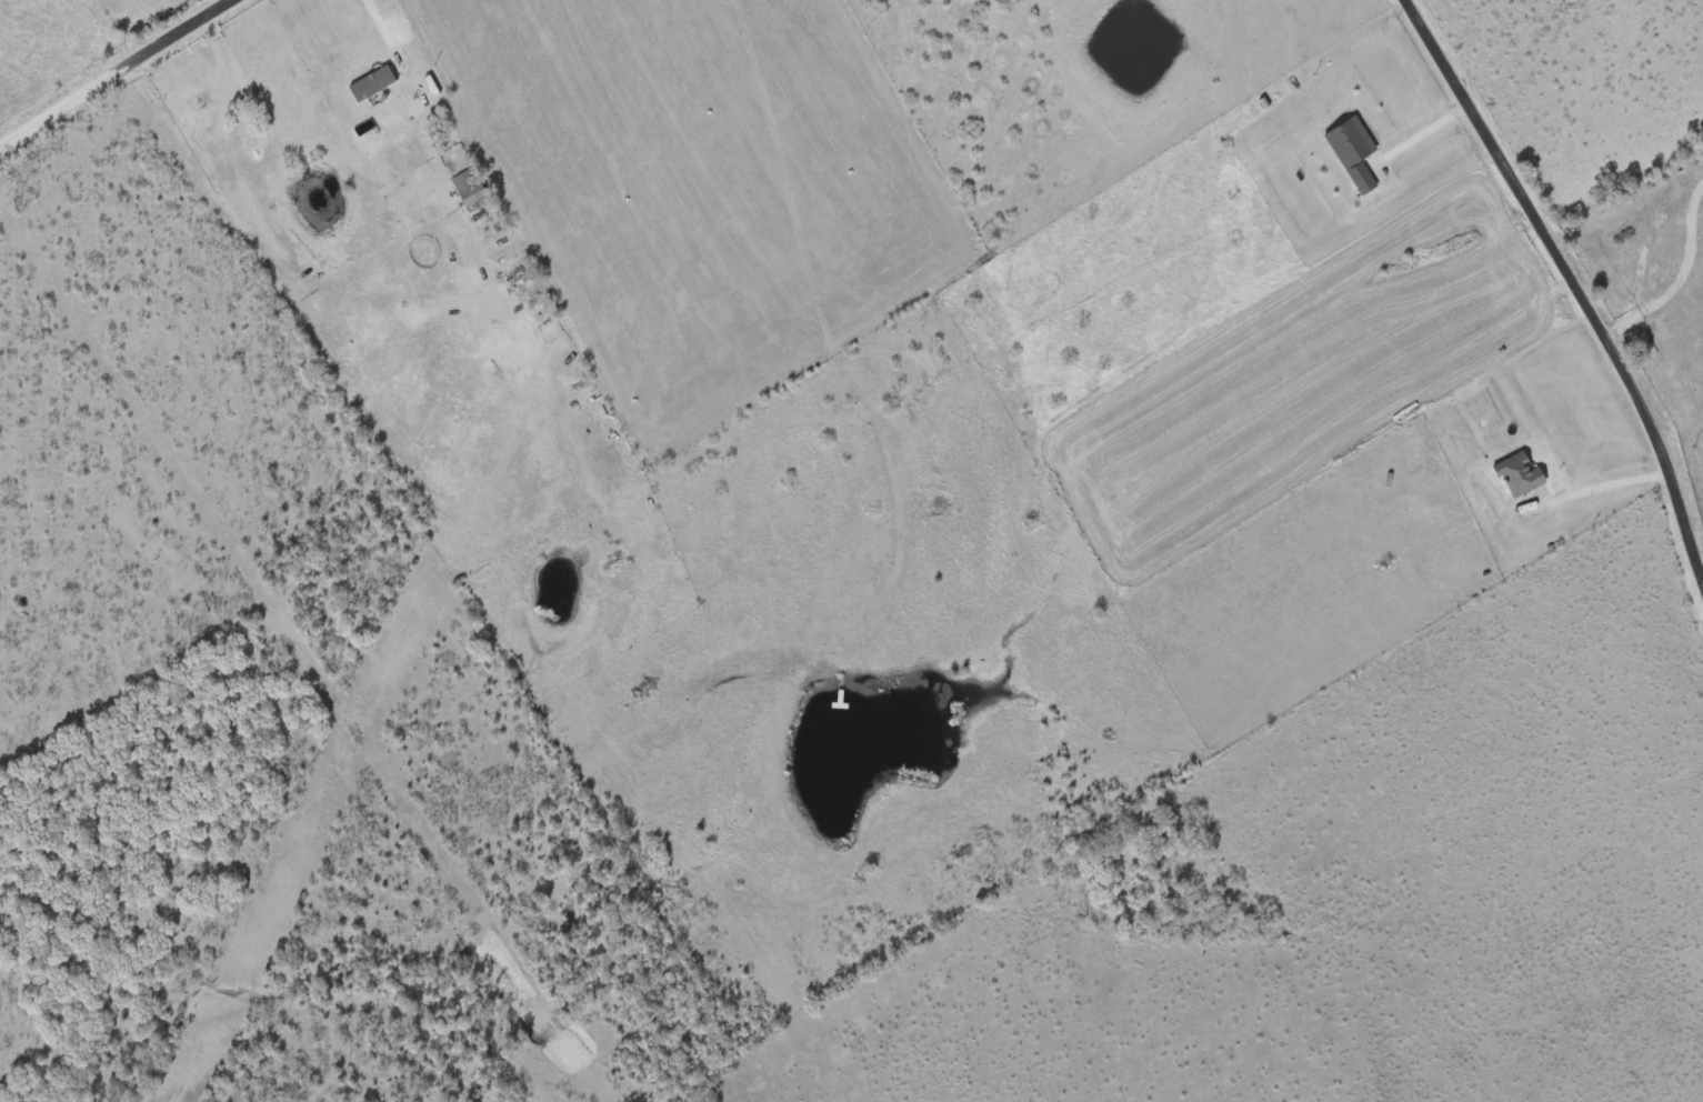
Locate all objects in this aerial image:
road: (118, 74)
building: (372, 84)
building: (1353, 153)
building: (469, 189)
road: (1575, 292)
building: (528, 294)
building: (1519, 477)

